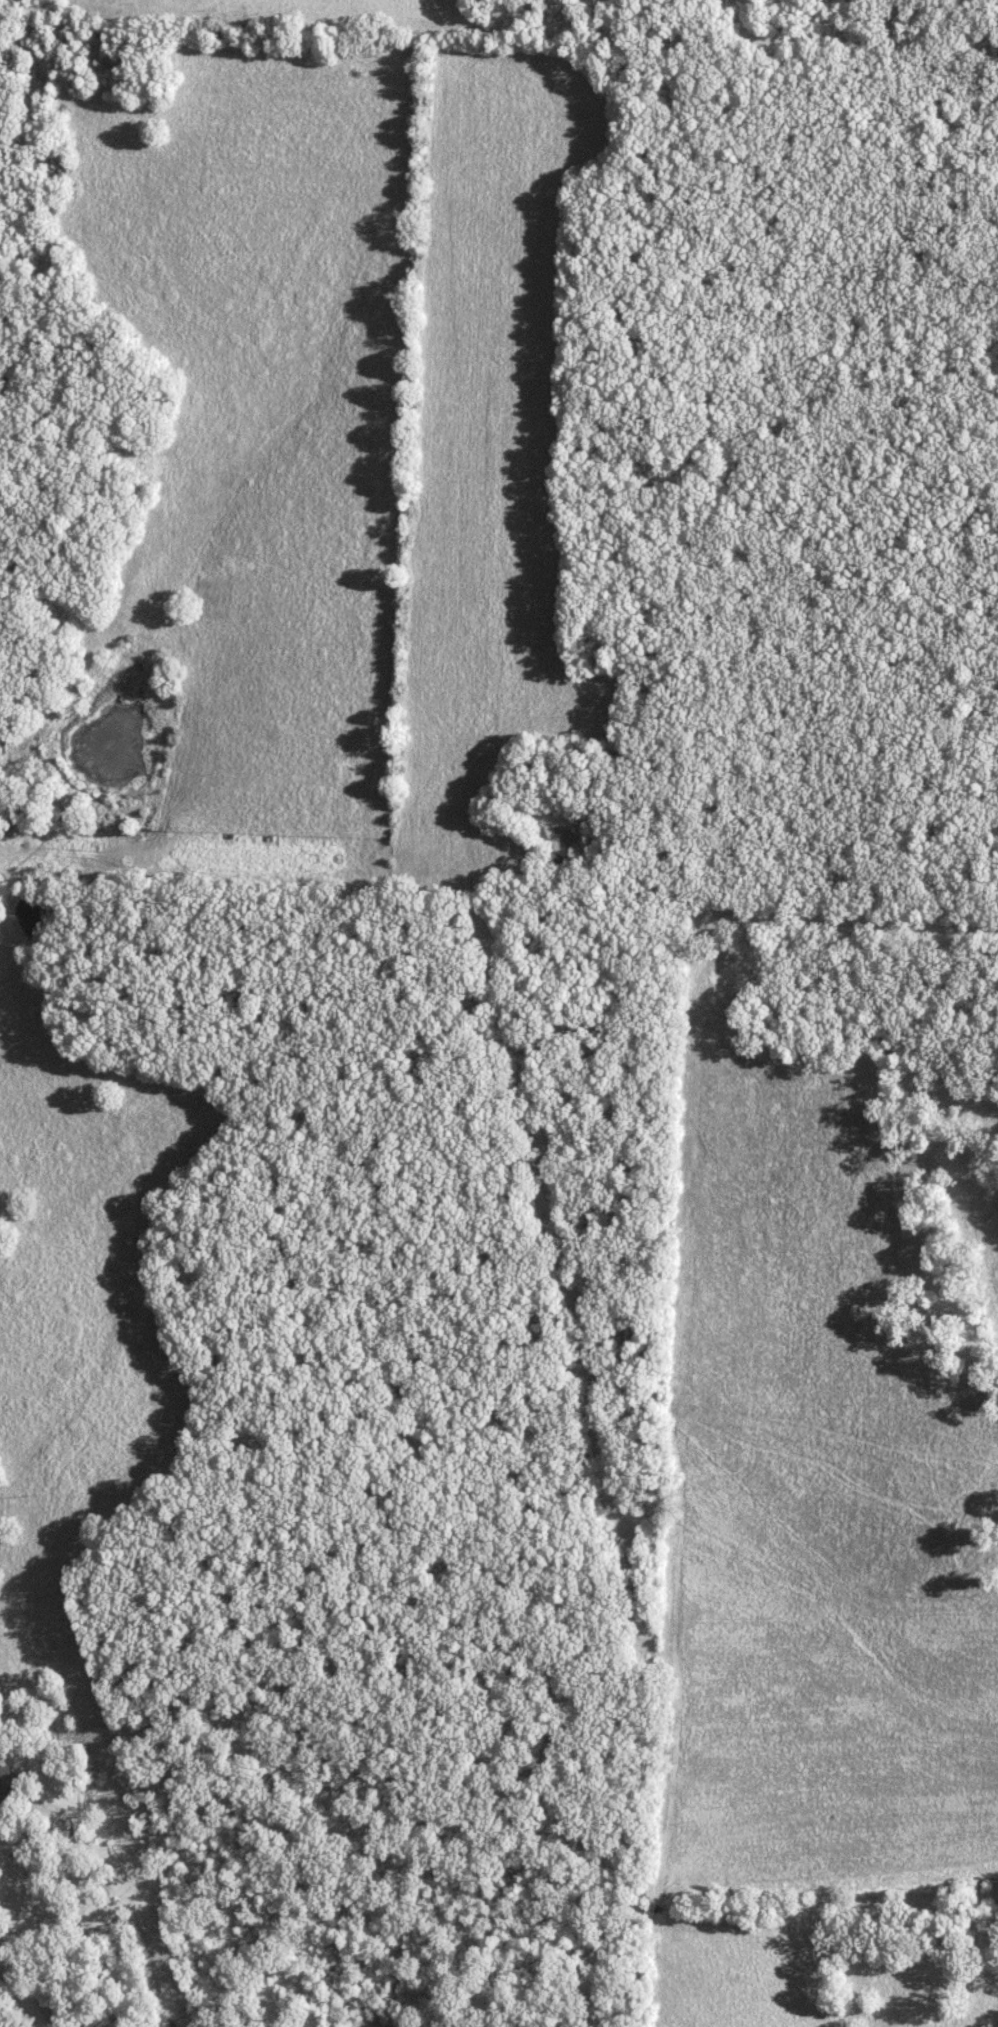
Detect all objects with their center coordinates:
building: (6, 1785)
road: (20, 1990)

